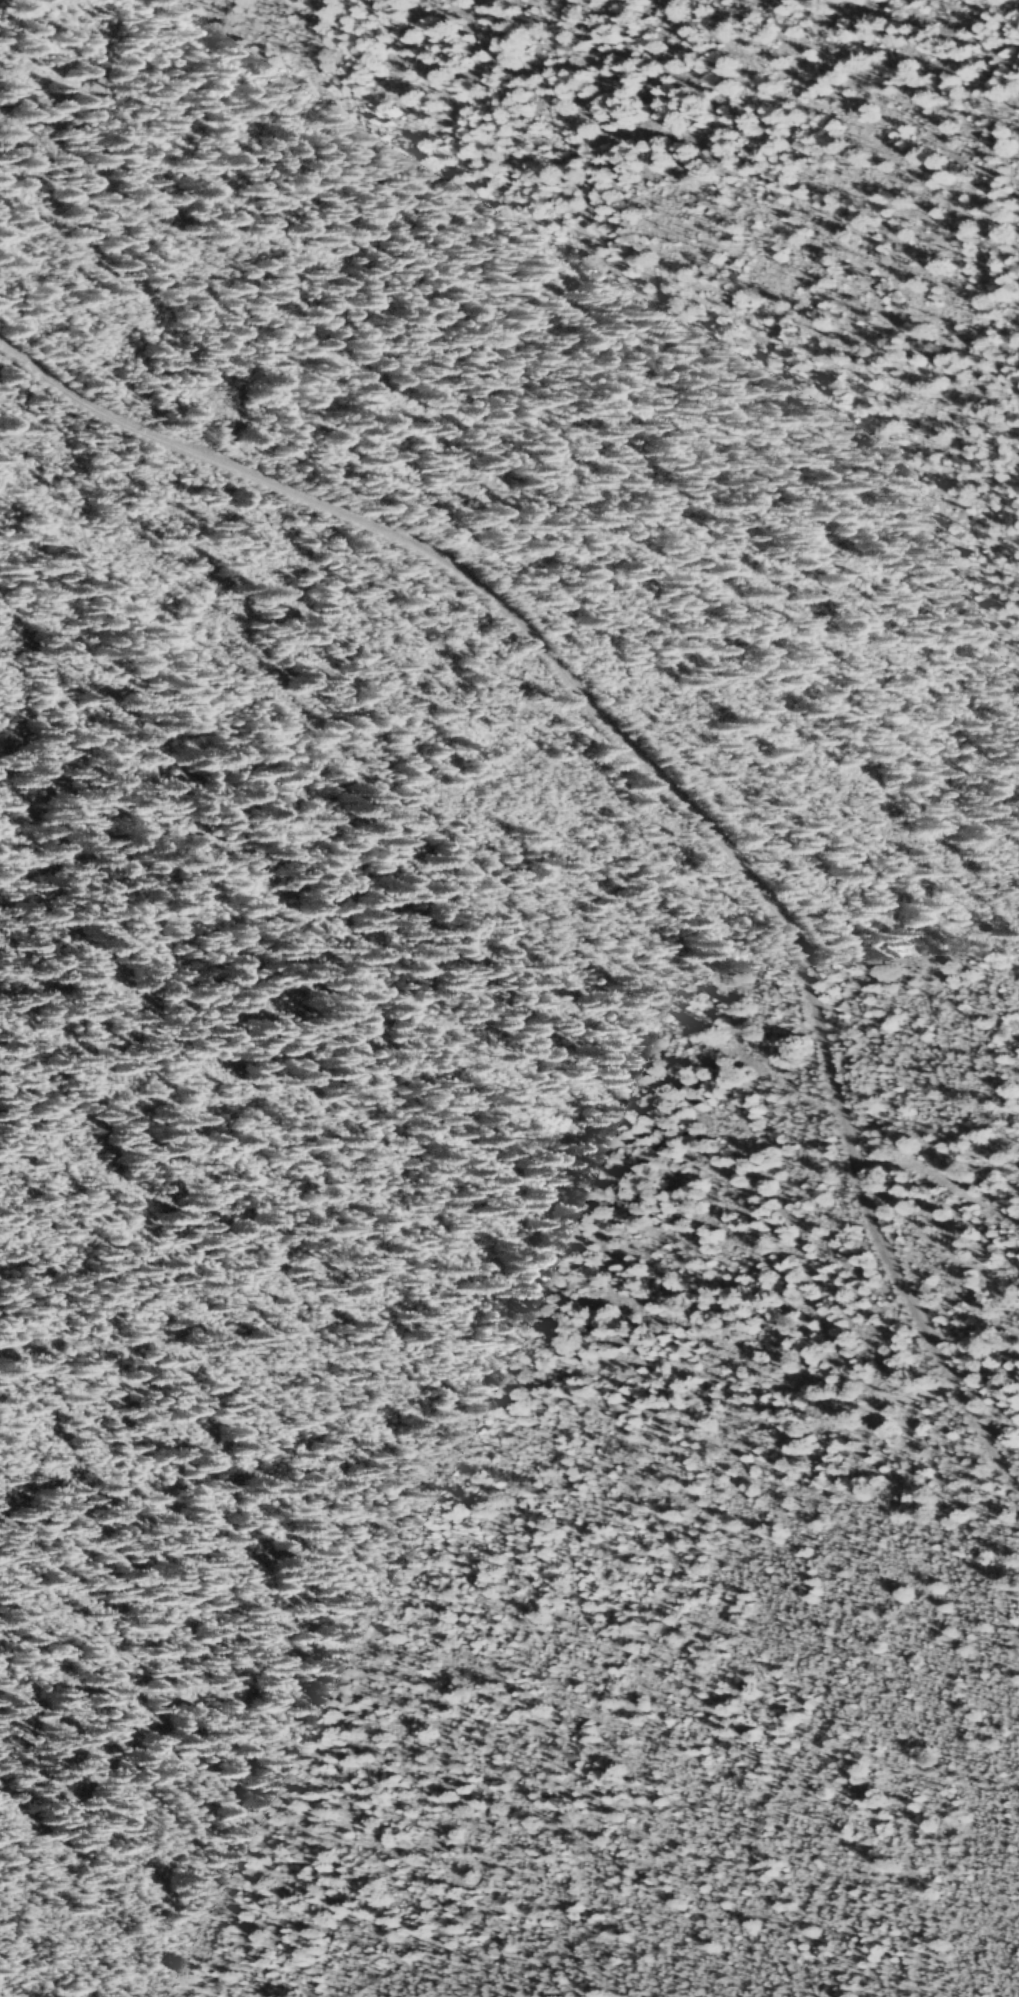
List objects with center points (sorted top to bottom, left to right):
road: (654, 783)
road: (625, 1991)

